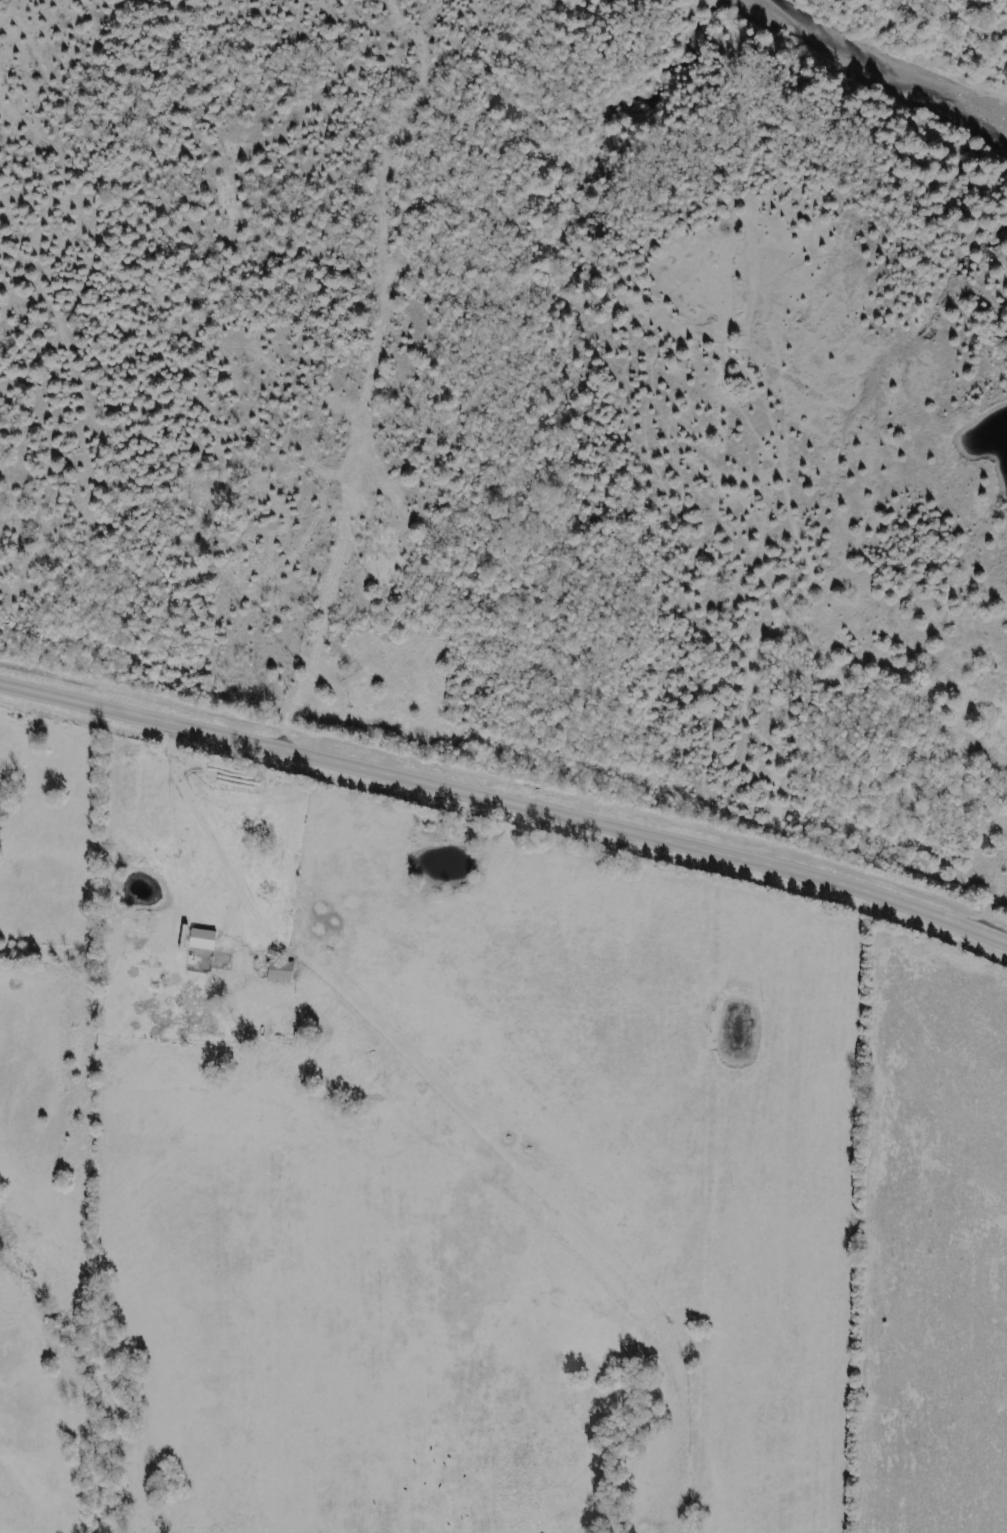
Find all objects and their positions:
road: (506, 797)
building: (207, 938)
building: (284, 969)

